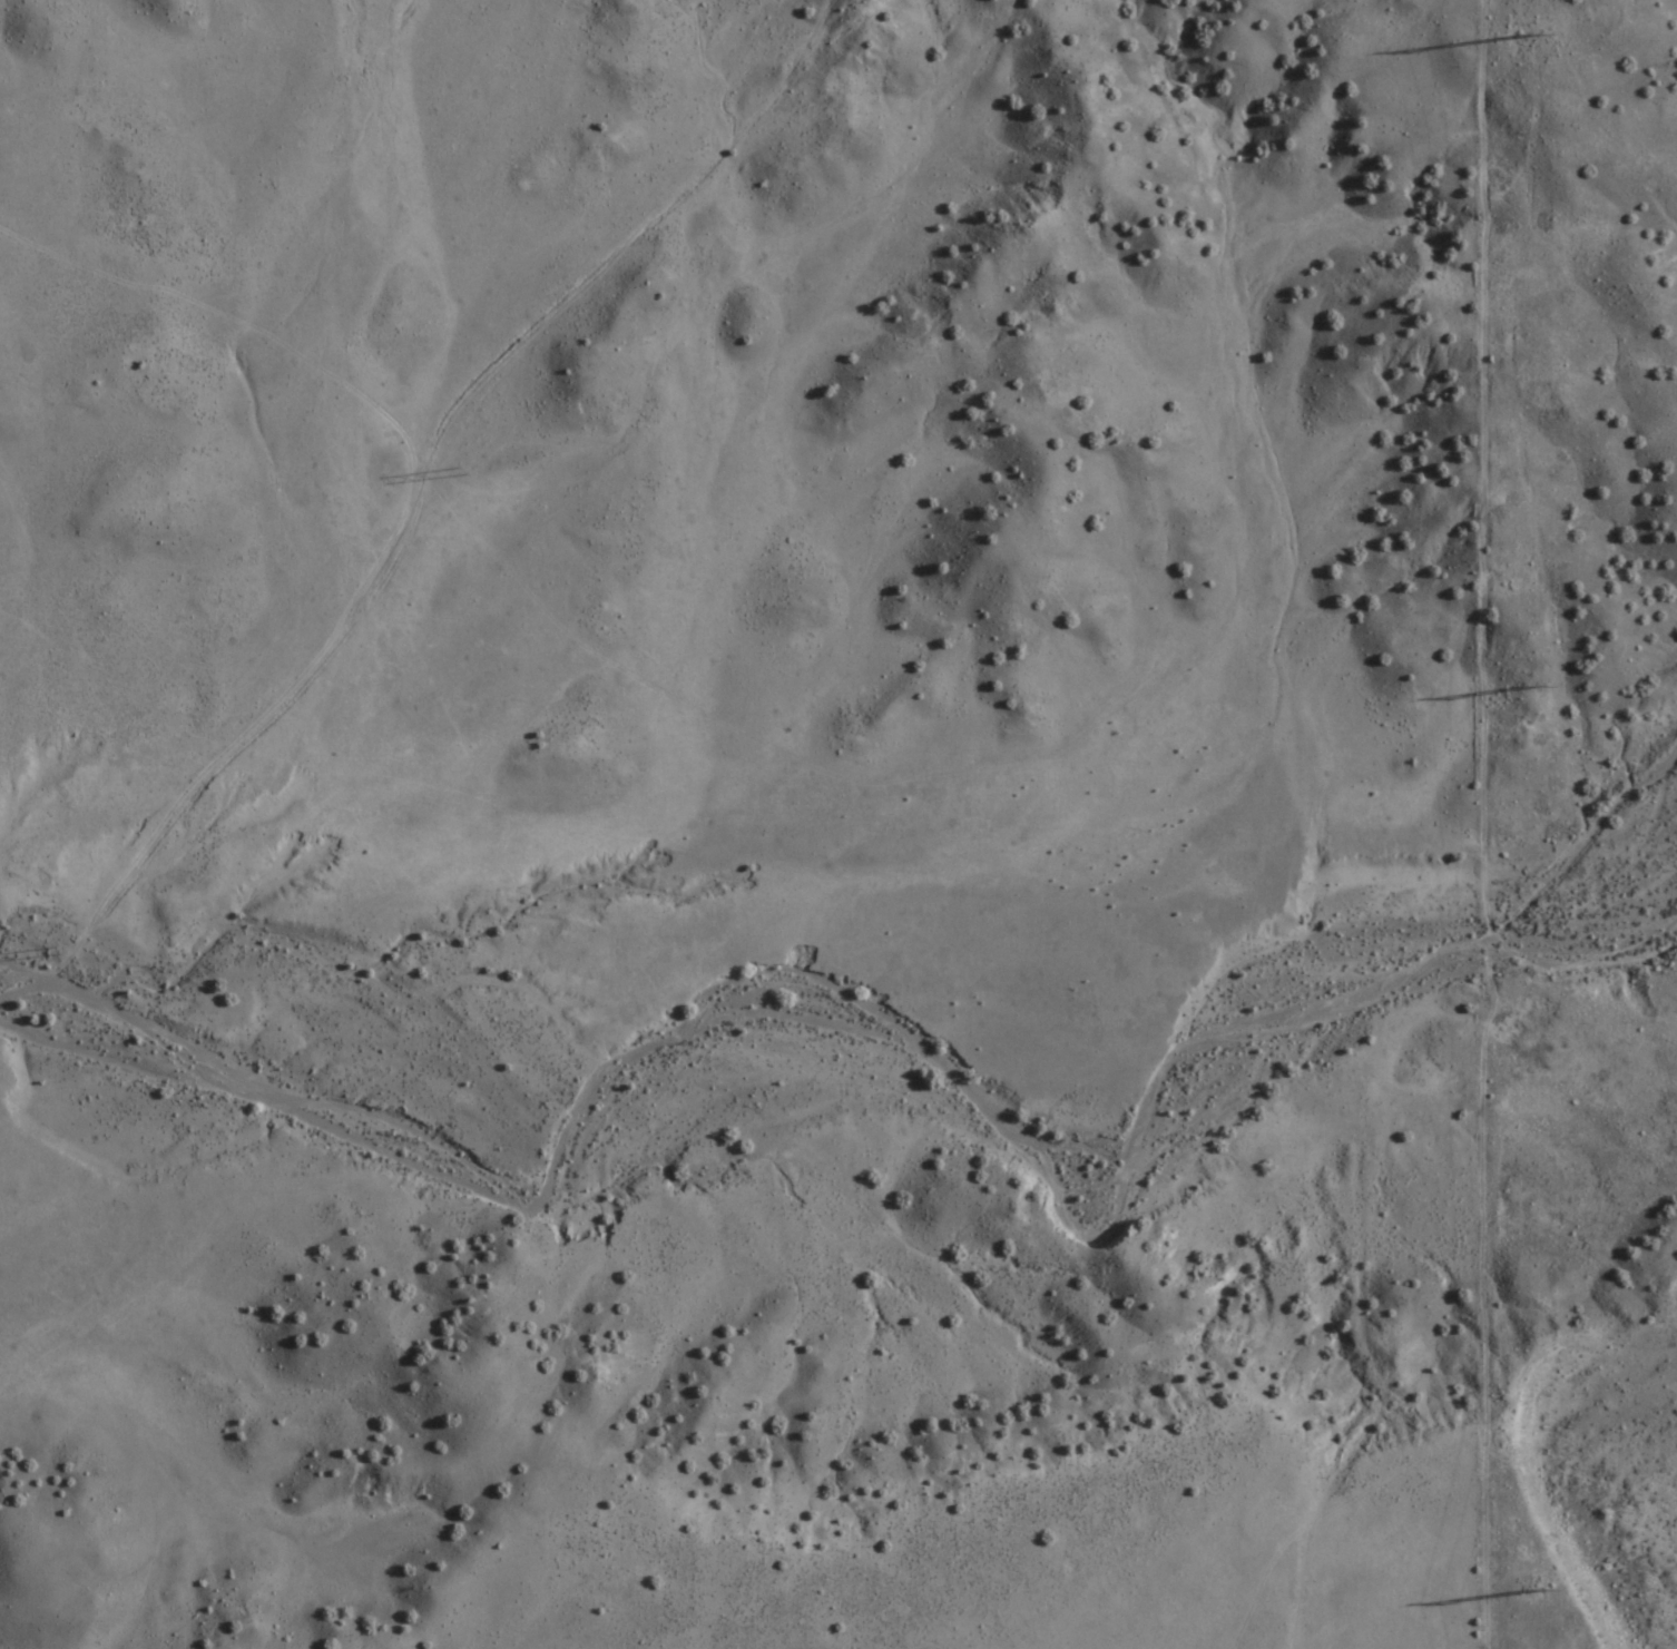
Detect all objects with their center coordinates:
power tower: (1537, 37)
power tower: (1542, 687)
power tower: (1548, 1591)

